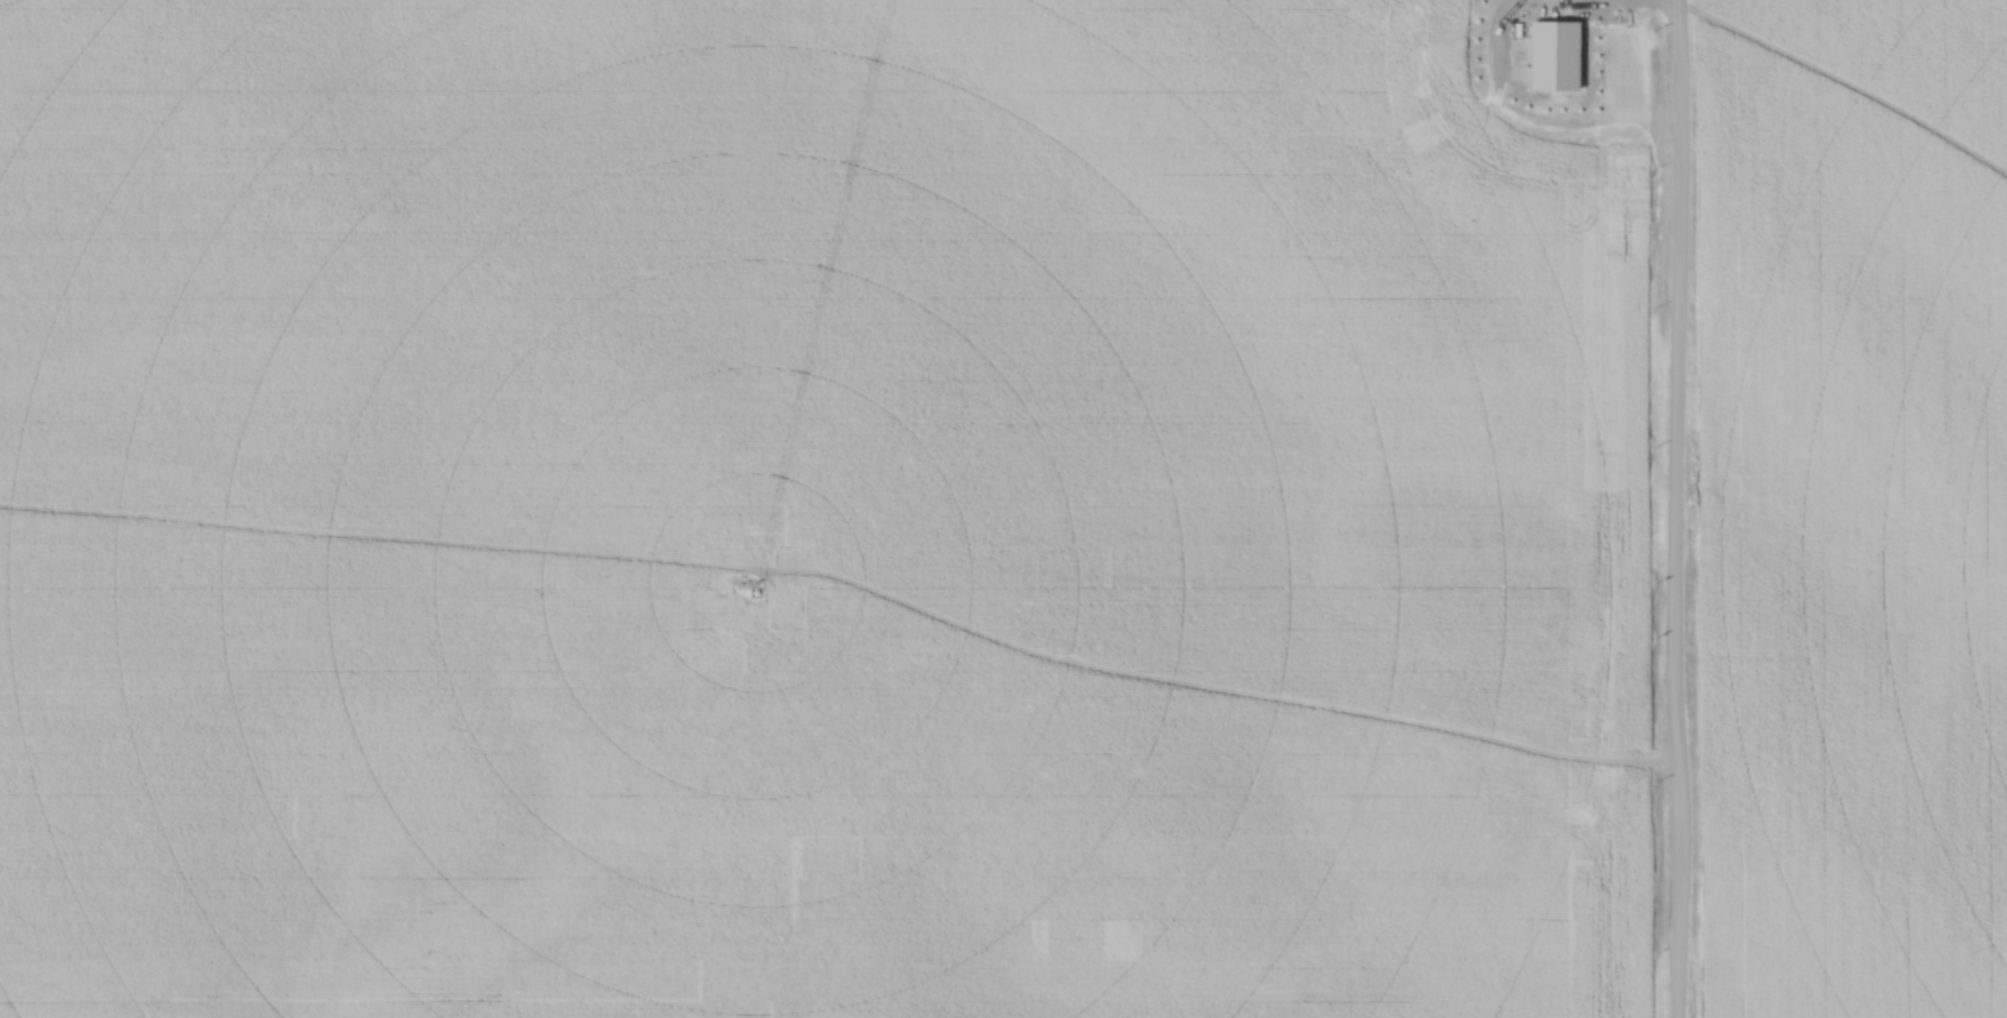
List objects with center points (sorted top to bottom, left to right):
road: (1672, 2)
road: (1680, 509)

